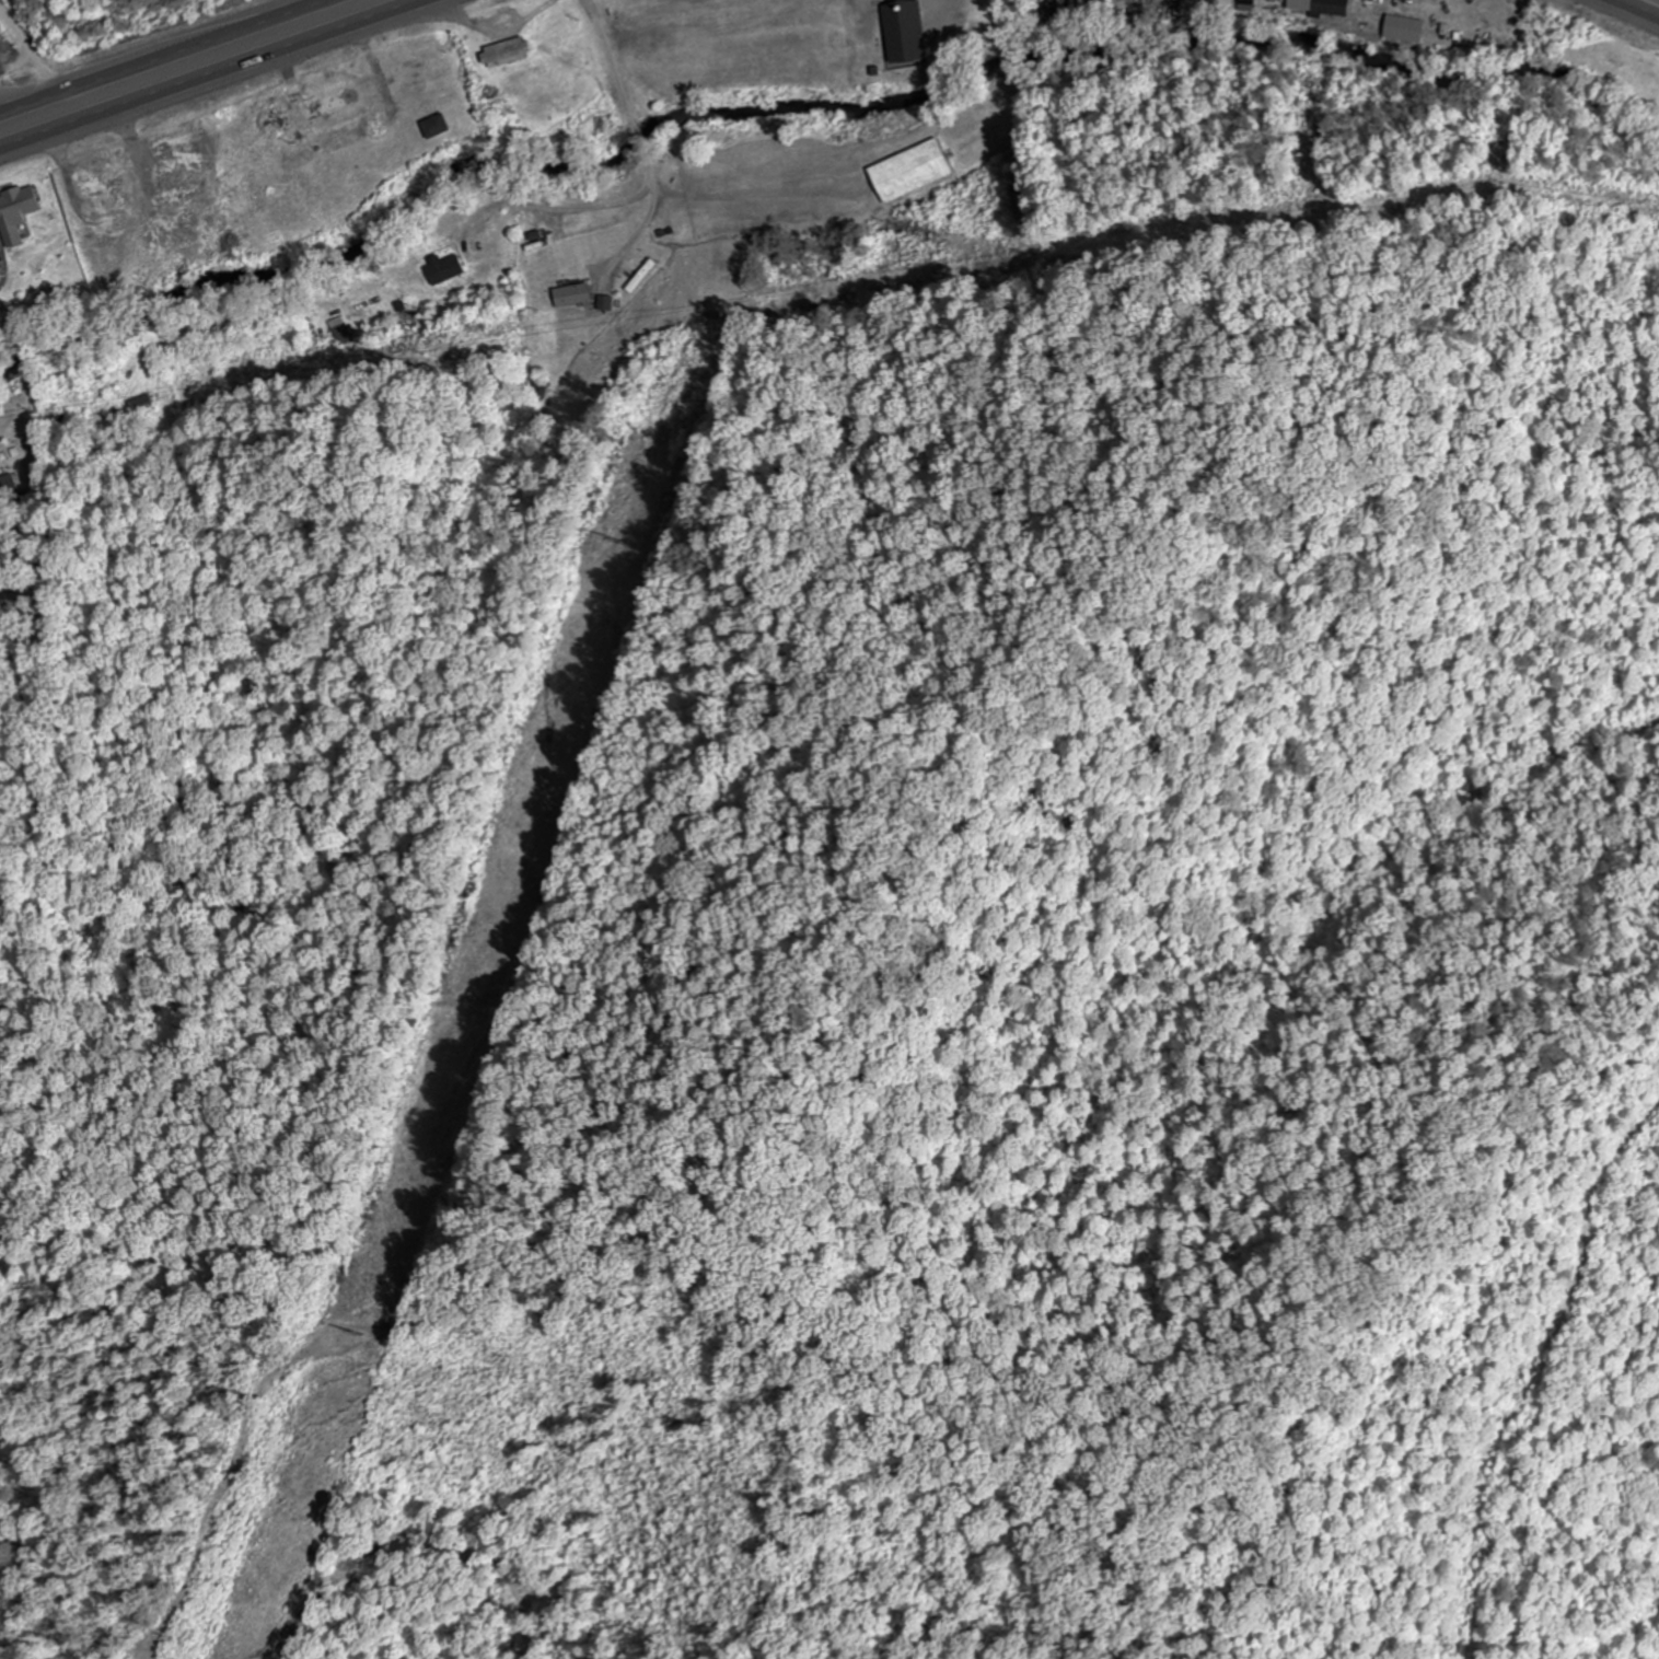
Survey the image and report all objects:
building: (1138, 0)
building: (1191, 2)
building: (1321, 7)
building: (1061, 8)
road: (1632, 10)
building: (904, 32)
road: (28, 47)
building: (506, 54)
road: (158, 55)
road: (217, 77)
building: (322, 104)
building: (436, 127)
building: (175, 143)
building: (182, 165)
road: (649, 172)
building: (910, 173)
road: (143, 178)
building: (101, 185)
building: (108, 209)
building: (16, 213)
building: (103, 234)
building: (443, 269)
building: (640, 277)
building: (570, 295)
building: (343, 335)
building: (140, 406)
building: (9, 488)

